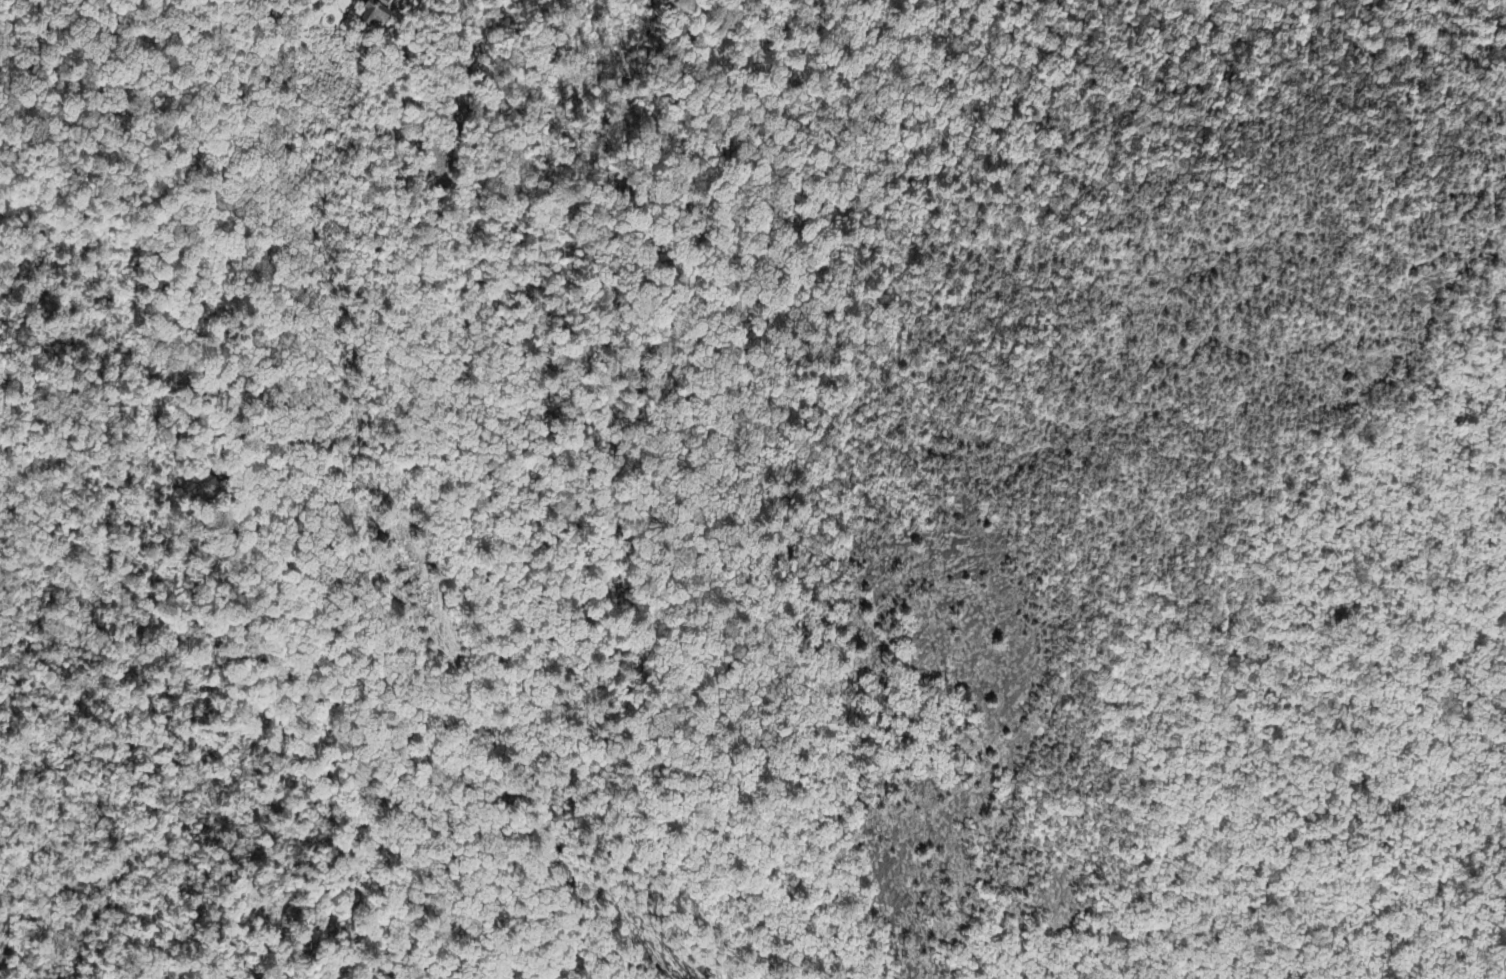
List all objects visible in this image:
building: (406, 0)
building: (378, 15)

